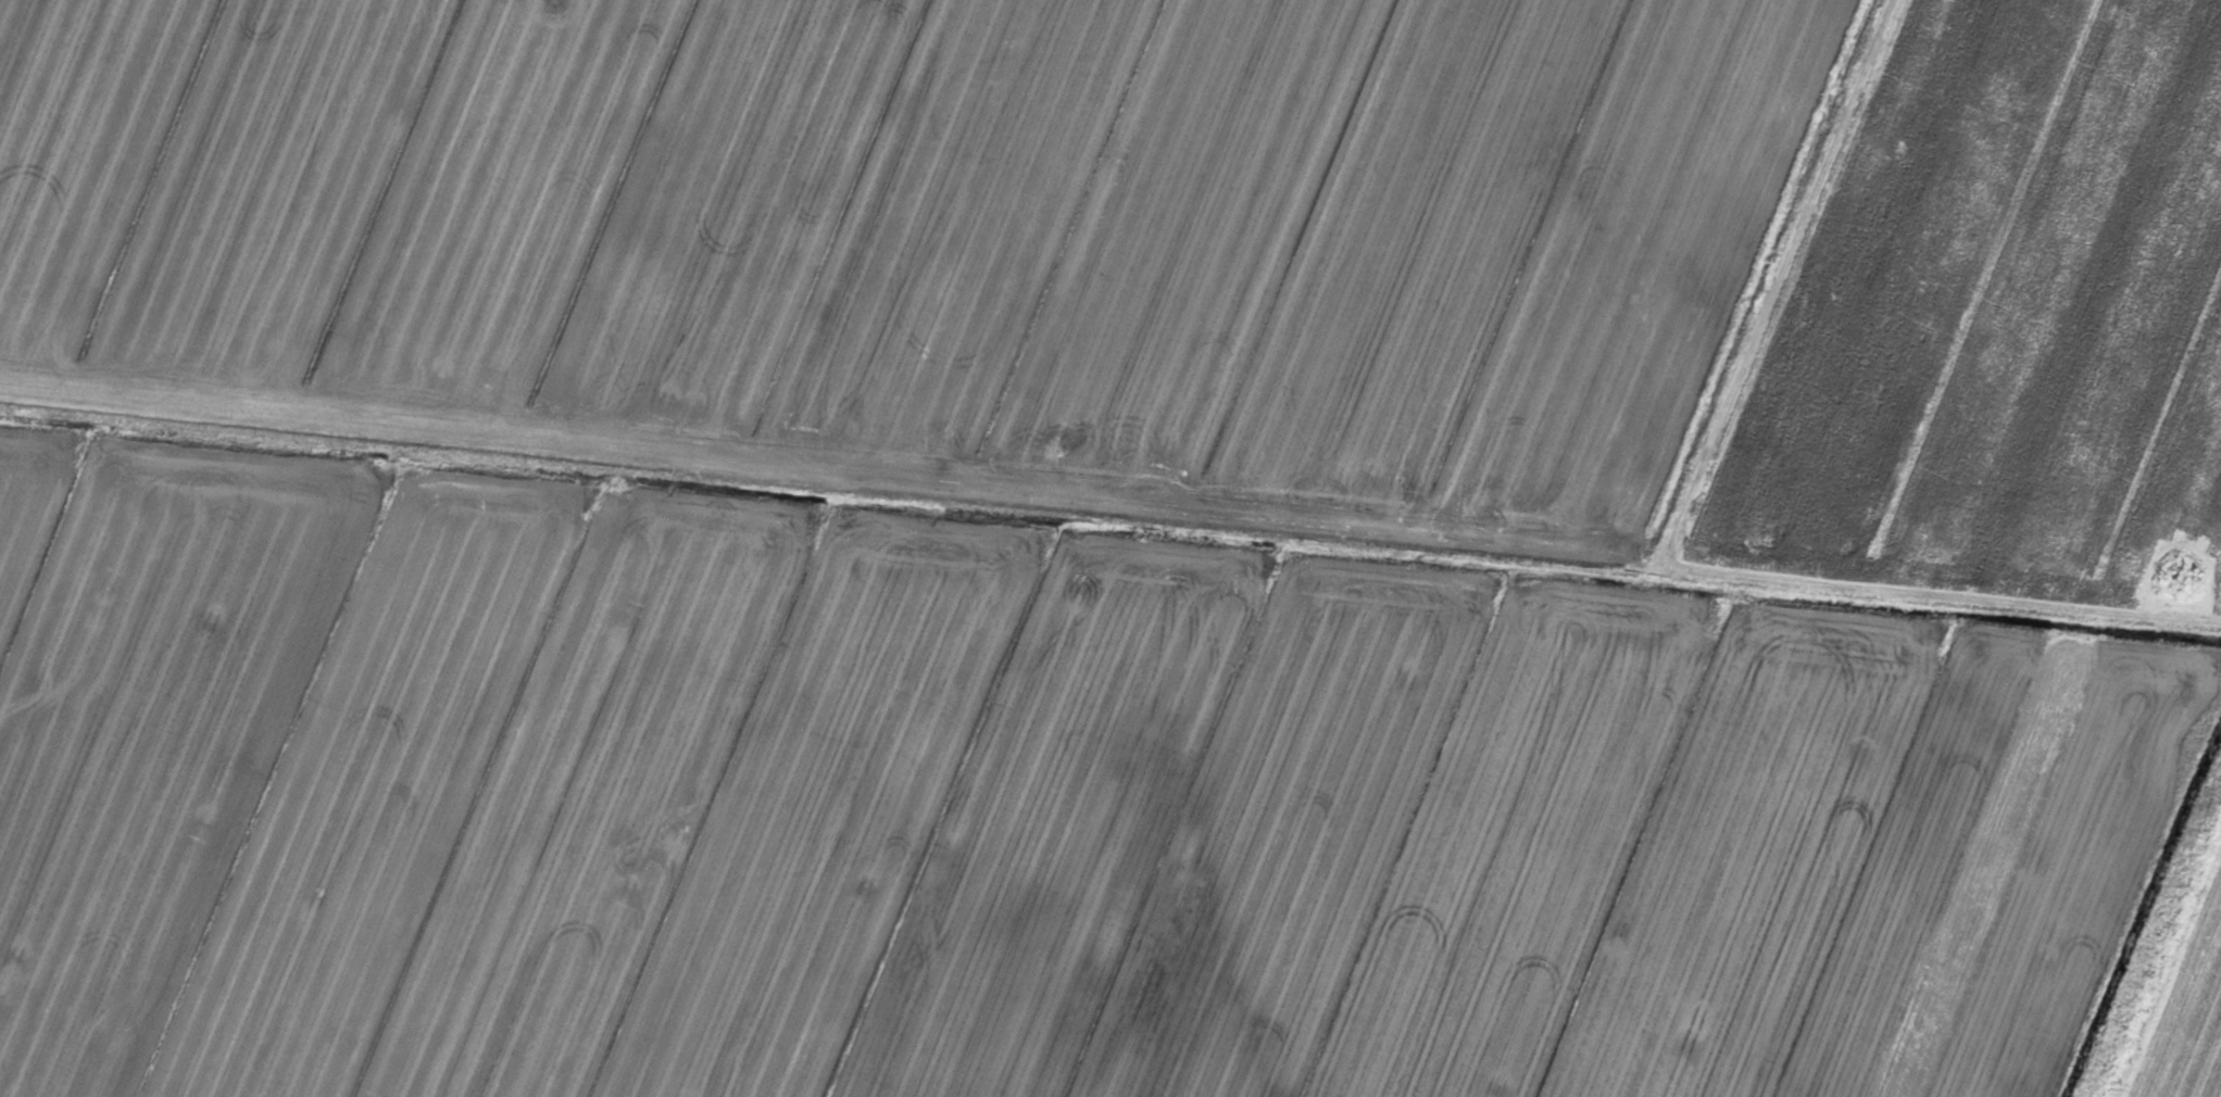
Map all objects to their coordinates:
road: (1110, 504)
crop: (1110, 548)

